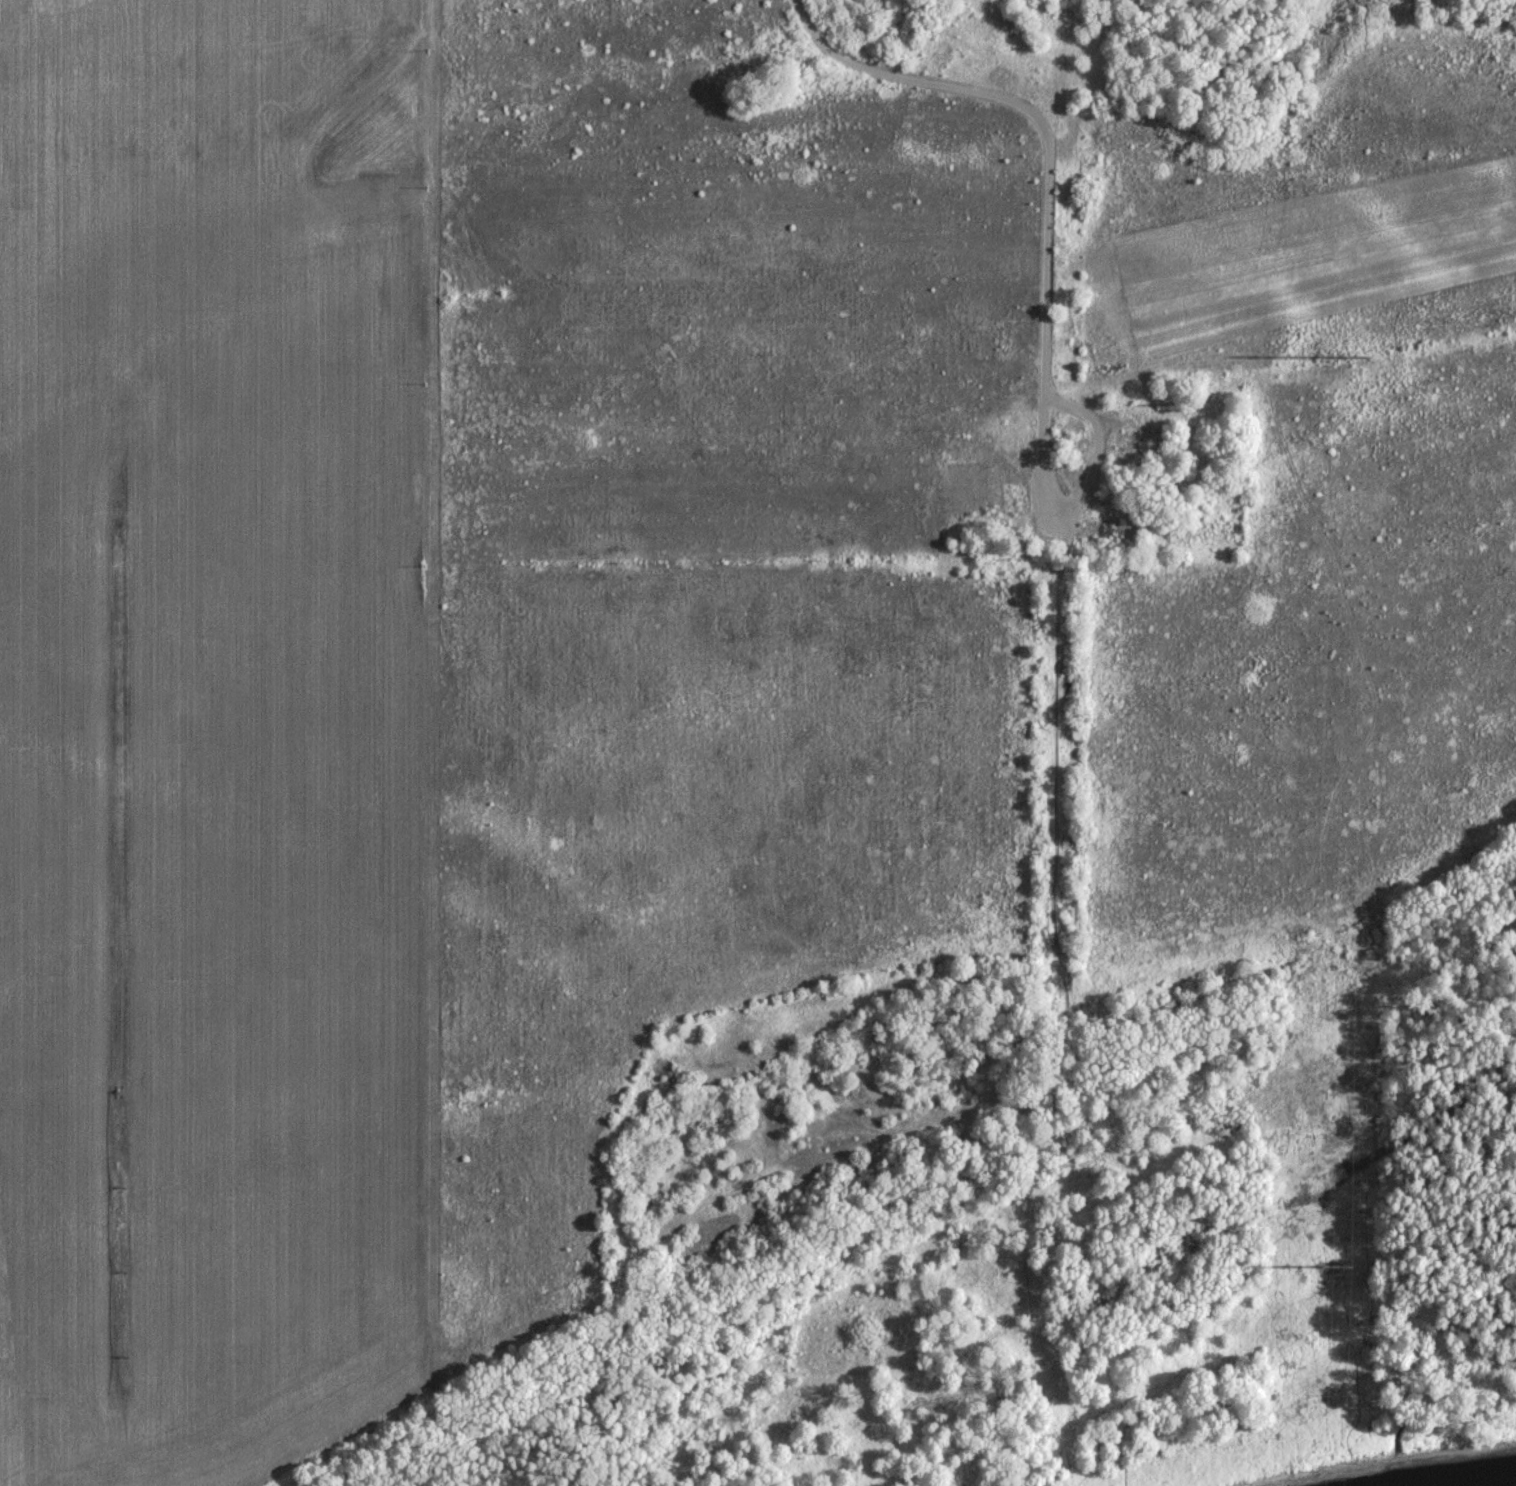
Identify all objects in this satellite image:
power tower: (1351, 354)
power tower: (1327, 1267)

